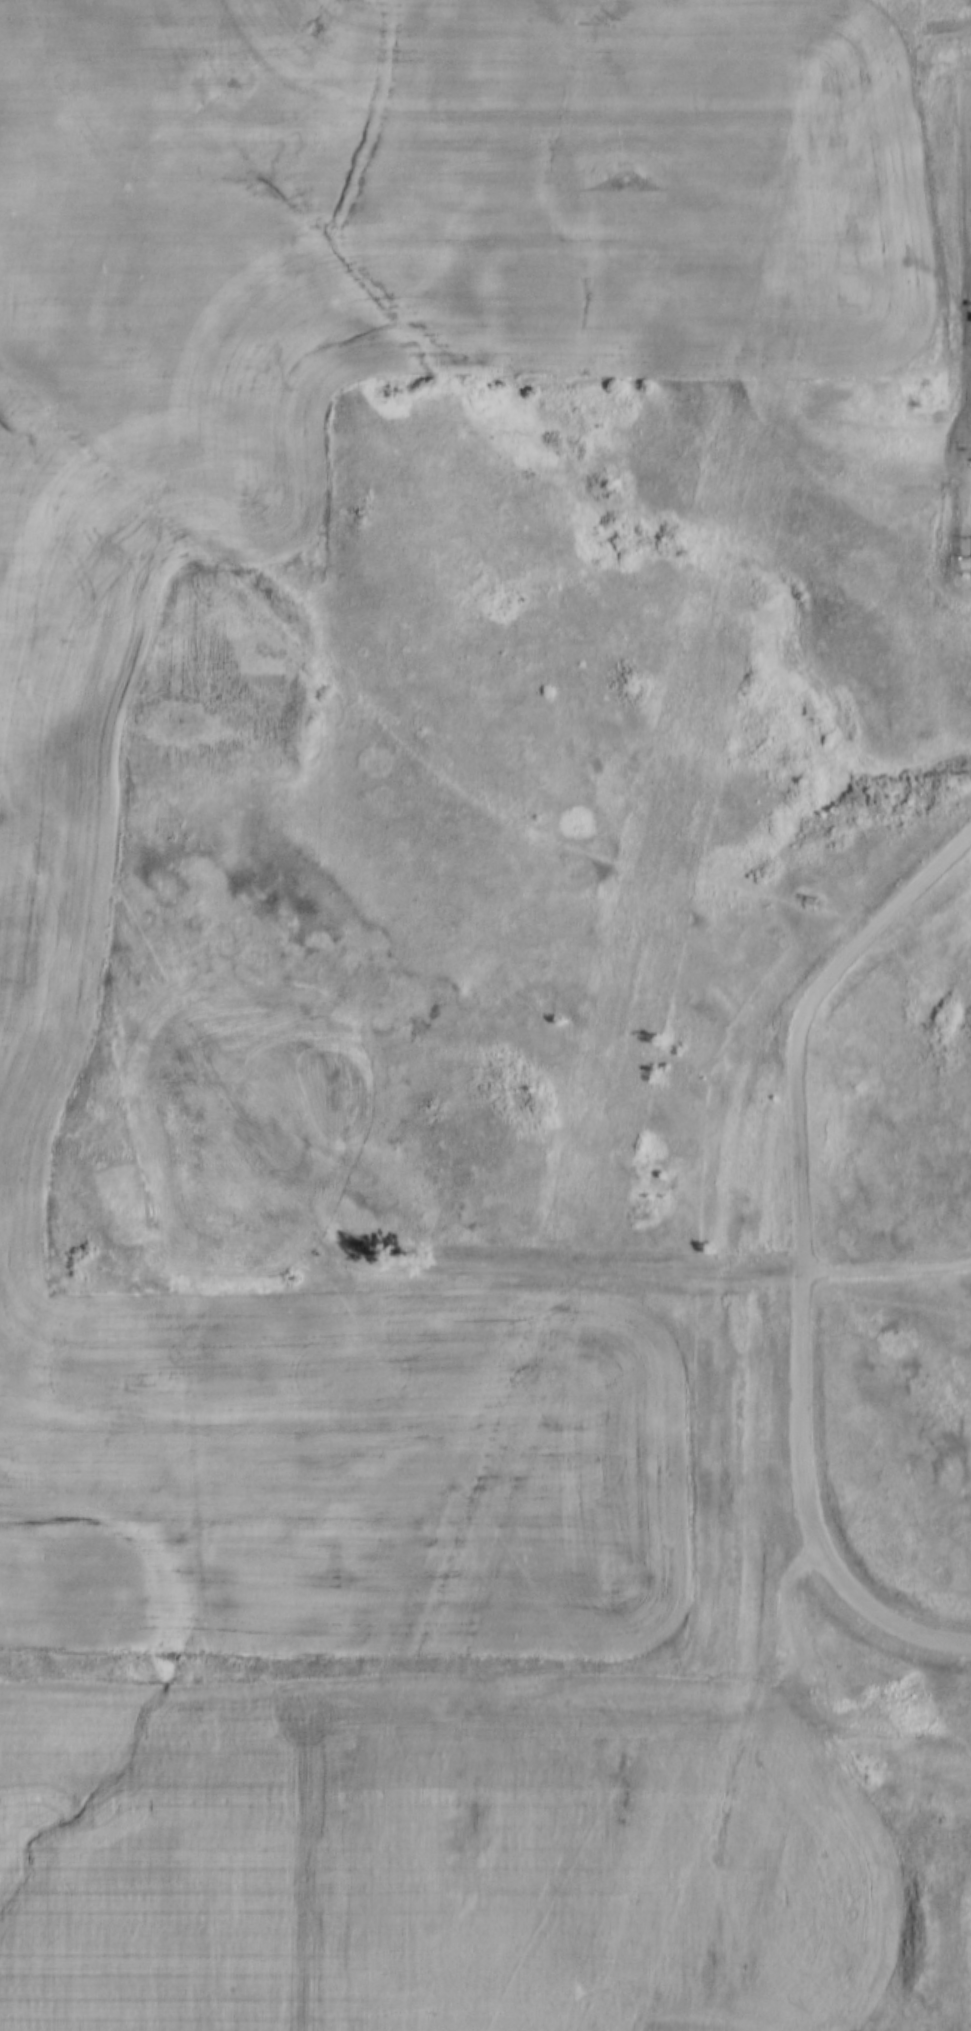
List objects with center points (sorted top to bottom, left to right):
road: (795, 1016)
road: (857, 1276)

